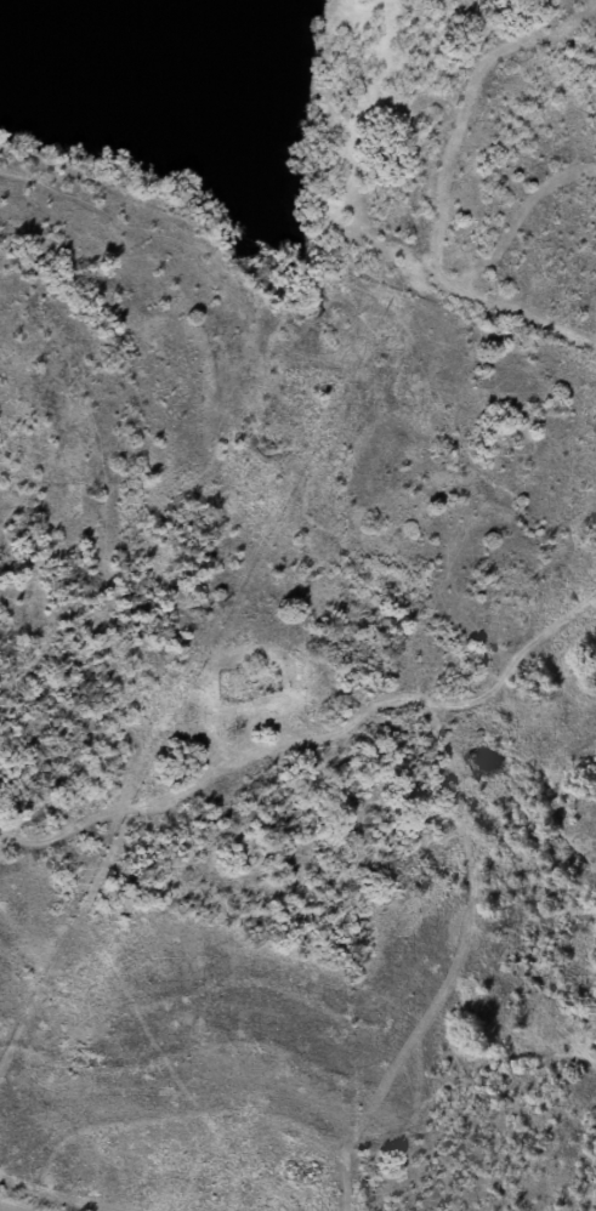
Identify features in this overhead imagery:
road: (320, 739)

